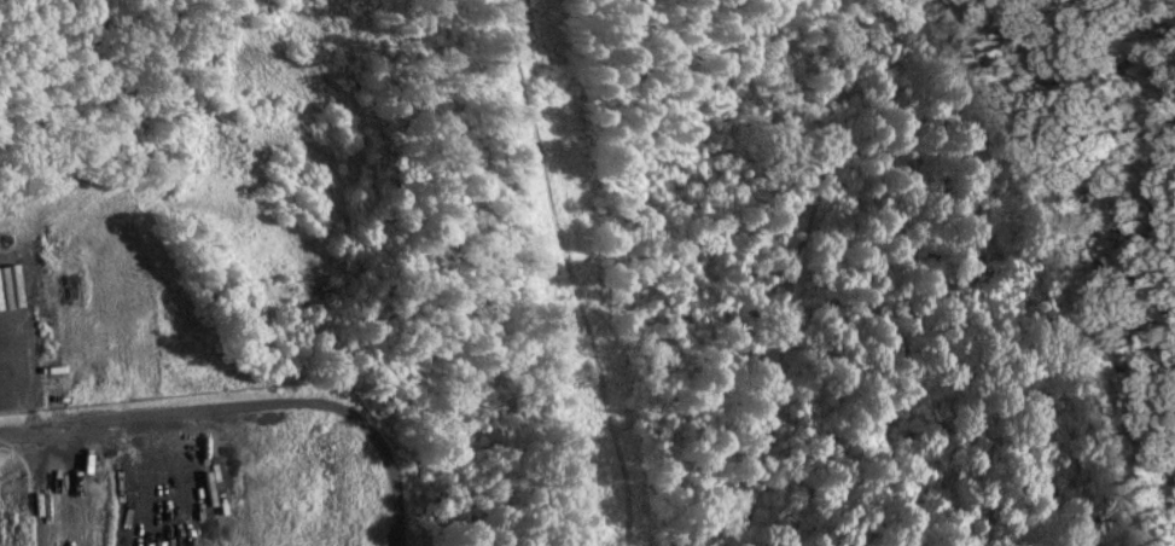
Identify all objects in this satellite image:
building: (0, 544)

